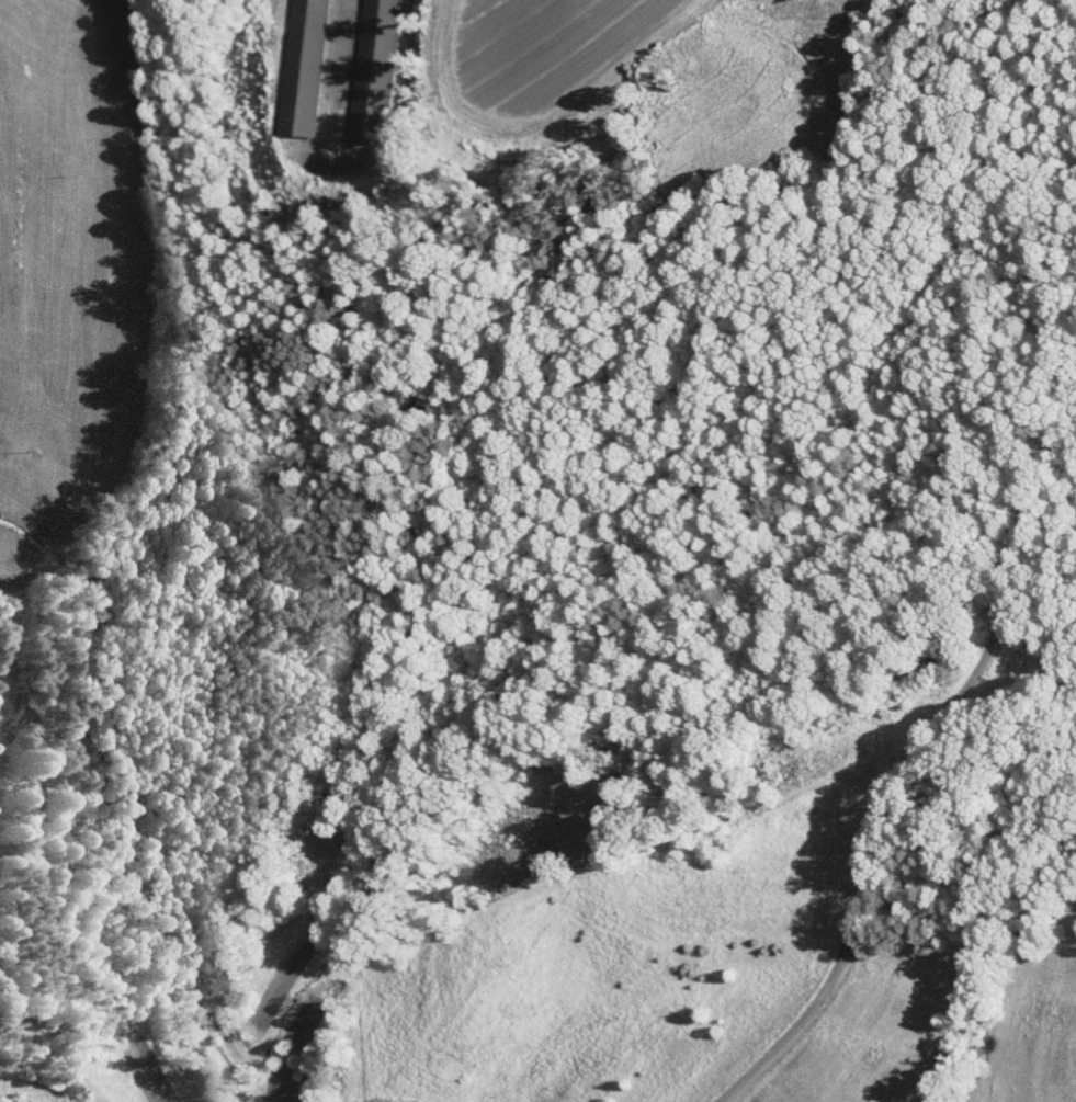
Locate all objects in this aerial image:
building: (306, 65)
building: (371, 68)
road: (910, 764)
road: (52, 1053)

